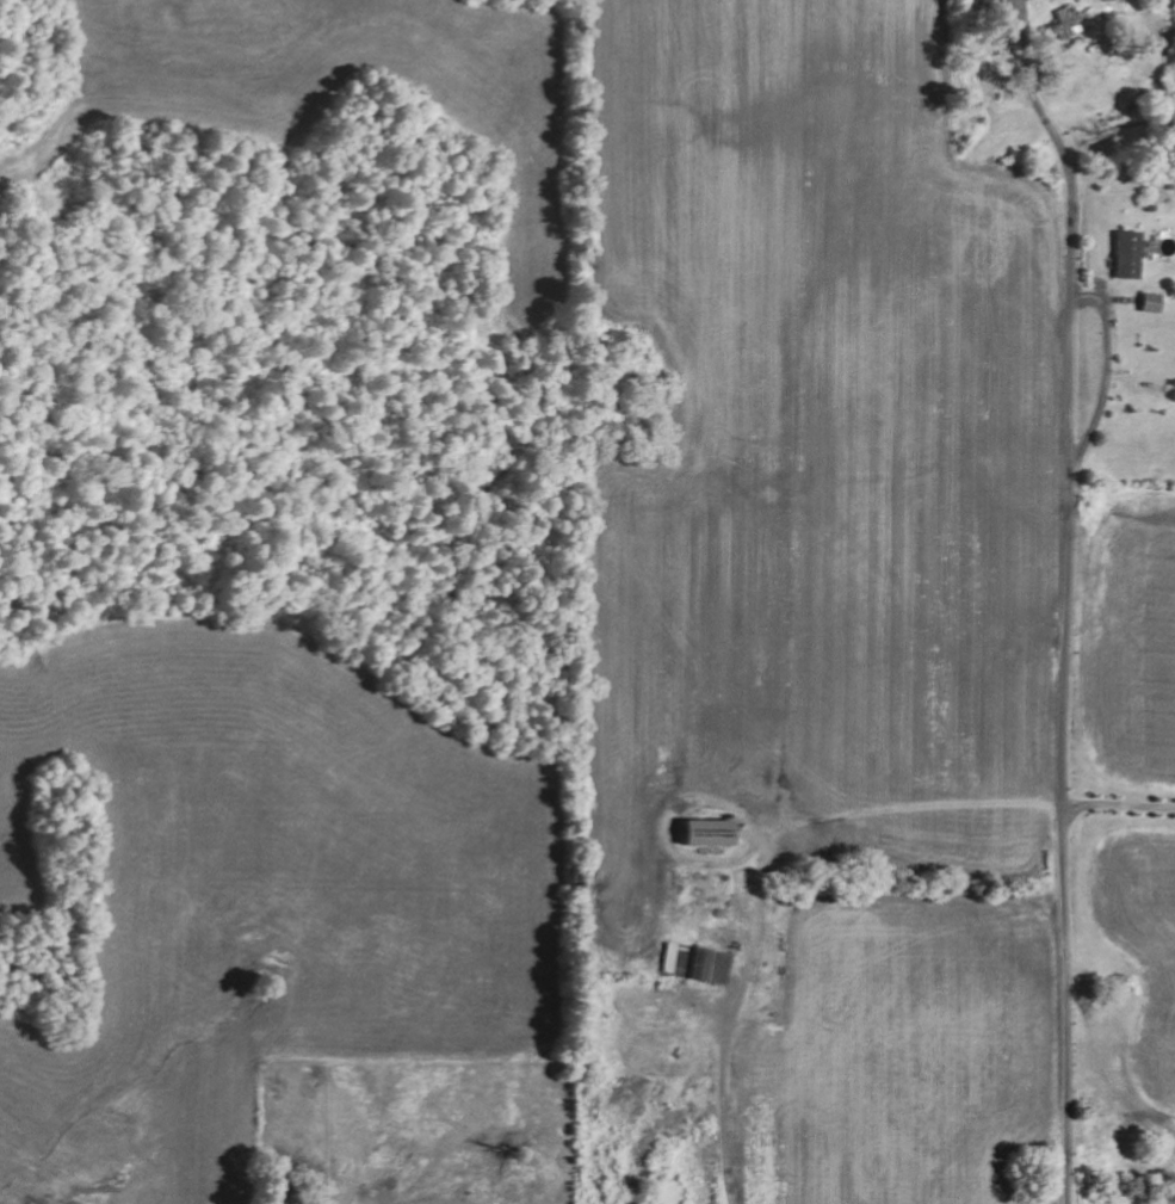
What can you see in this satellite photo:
building: (984, 7)
building: (1064, 21)
building: (1127, 254)
building: (1150, 302)
road: (1065, 603)
building: (706, 831)
building: (699, 962)

